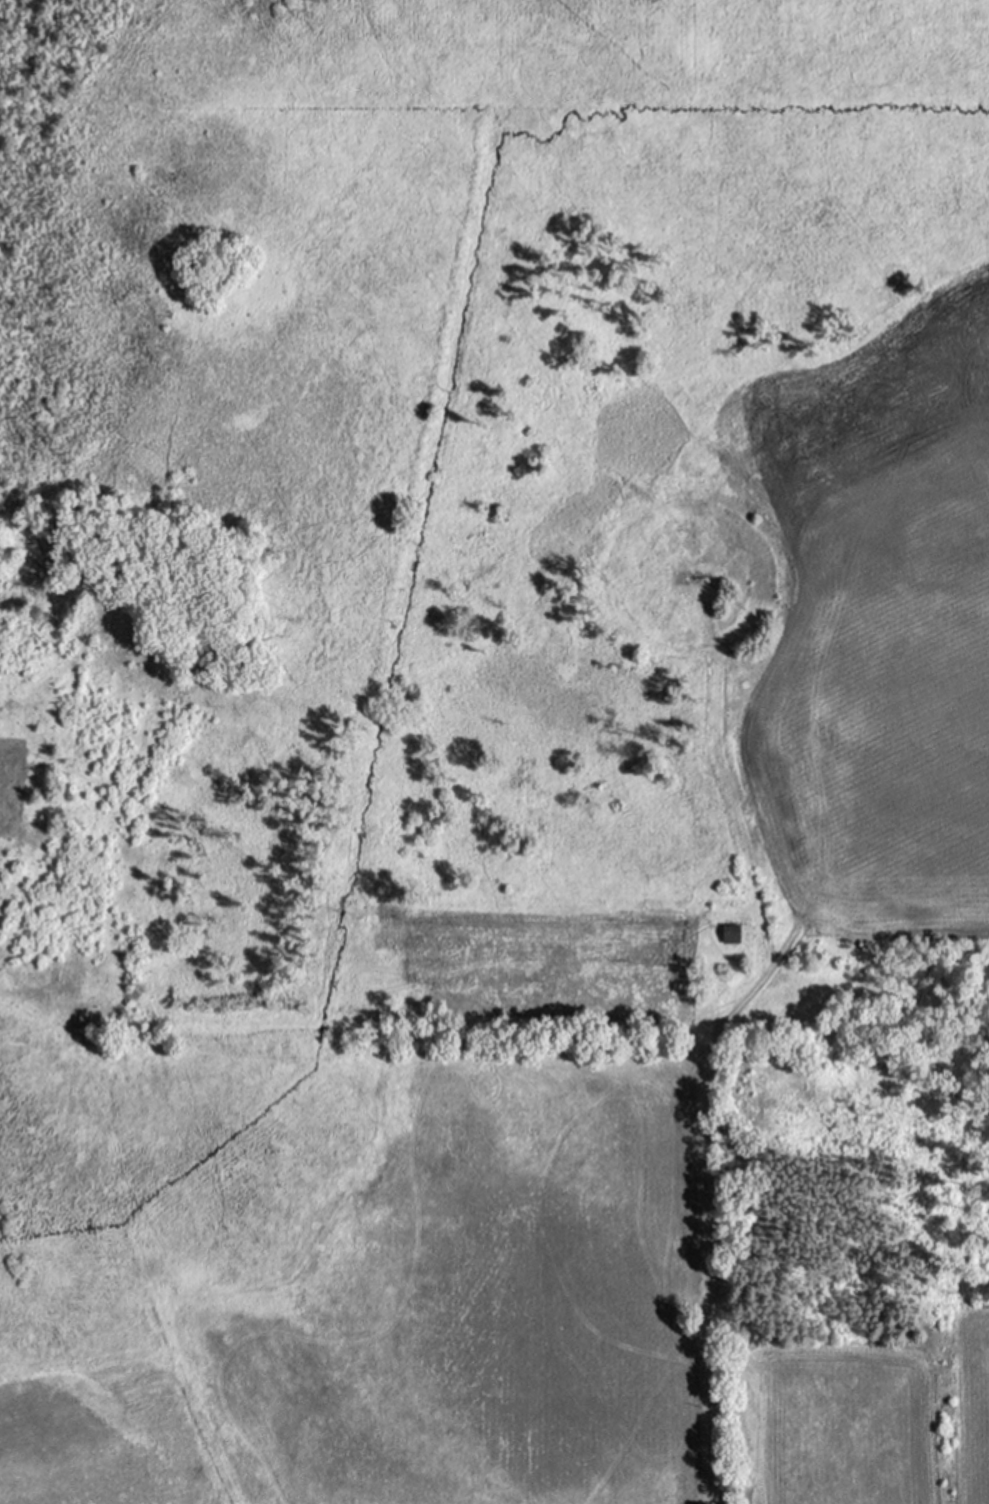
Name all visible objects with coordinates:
building: (732, 934)

